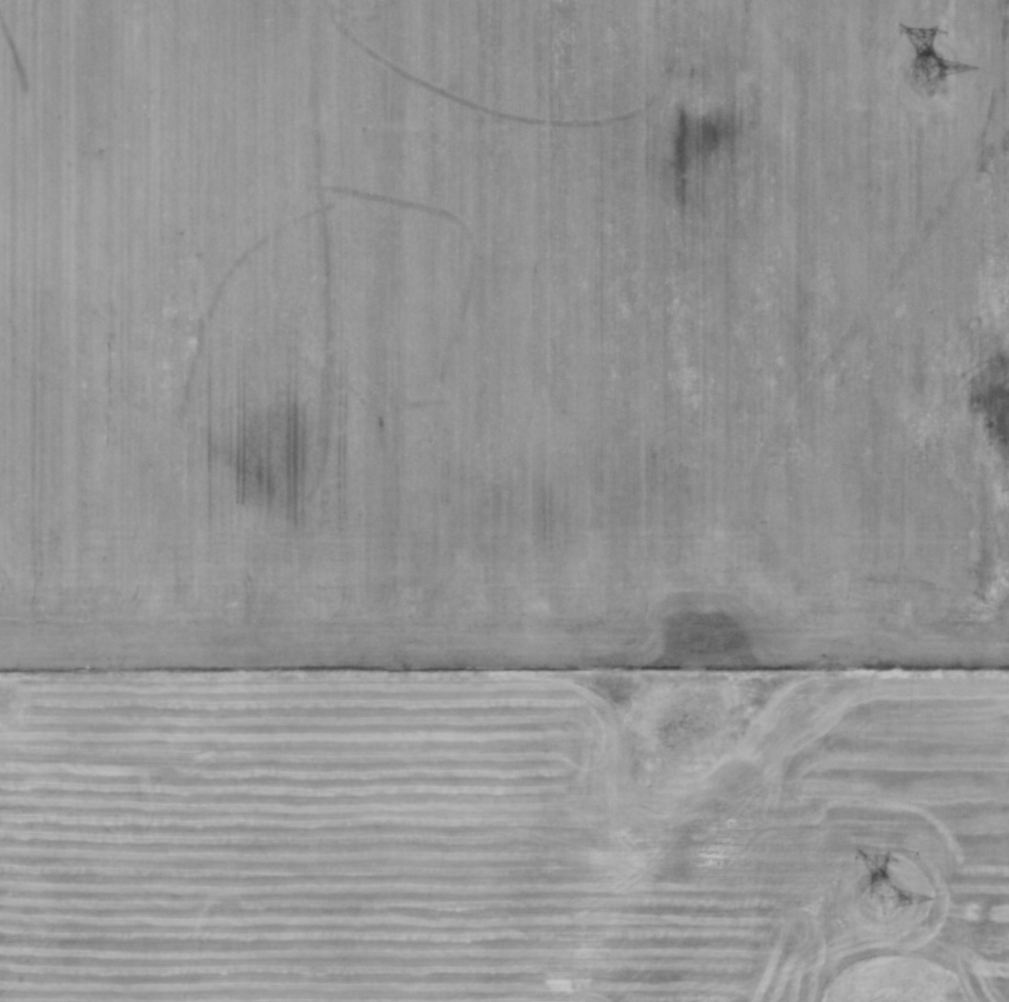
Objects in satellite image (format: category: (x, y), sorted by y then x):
power tower: (927, 66)
power tower: (889, 899)

